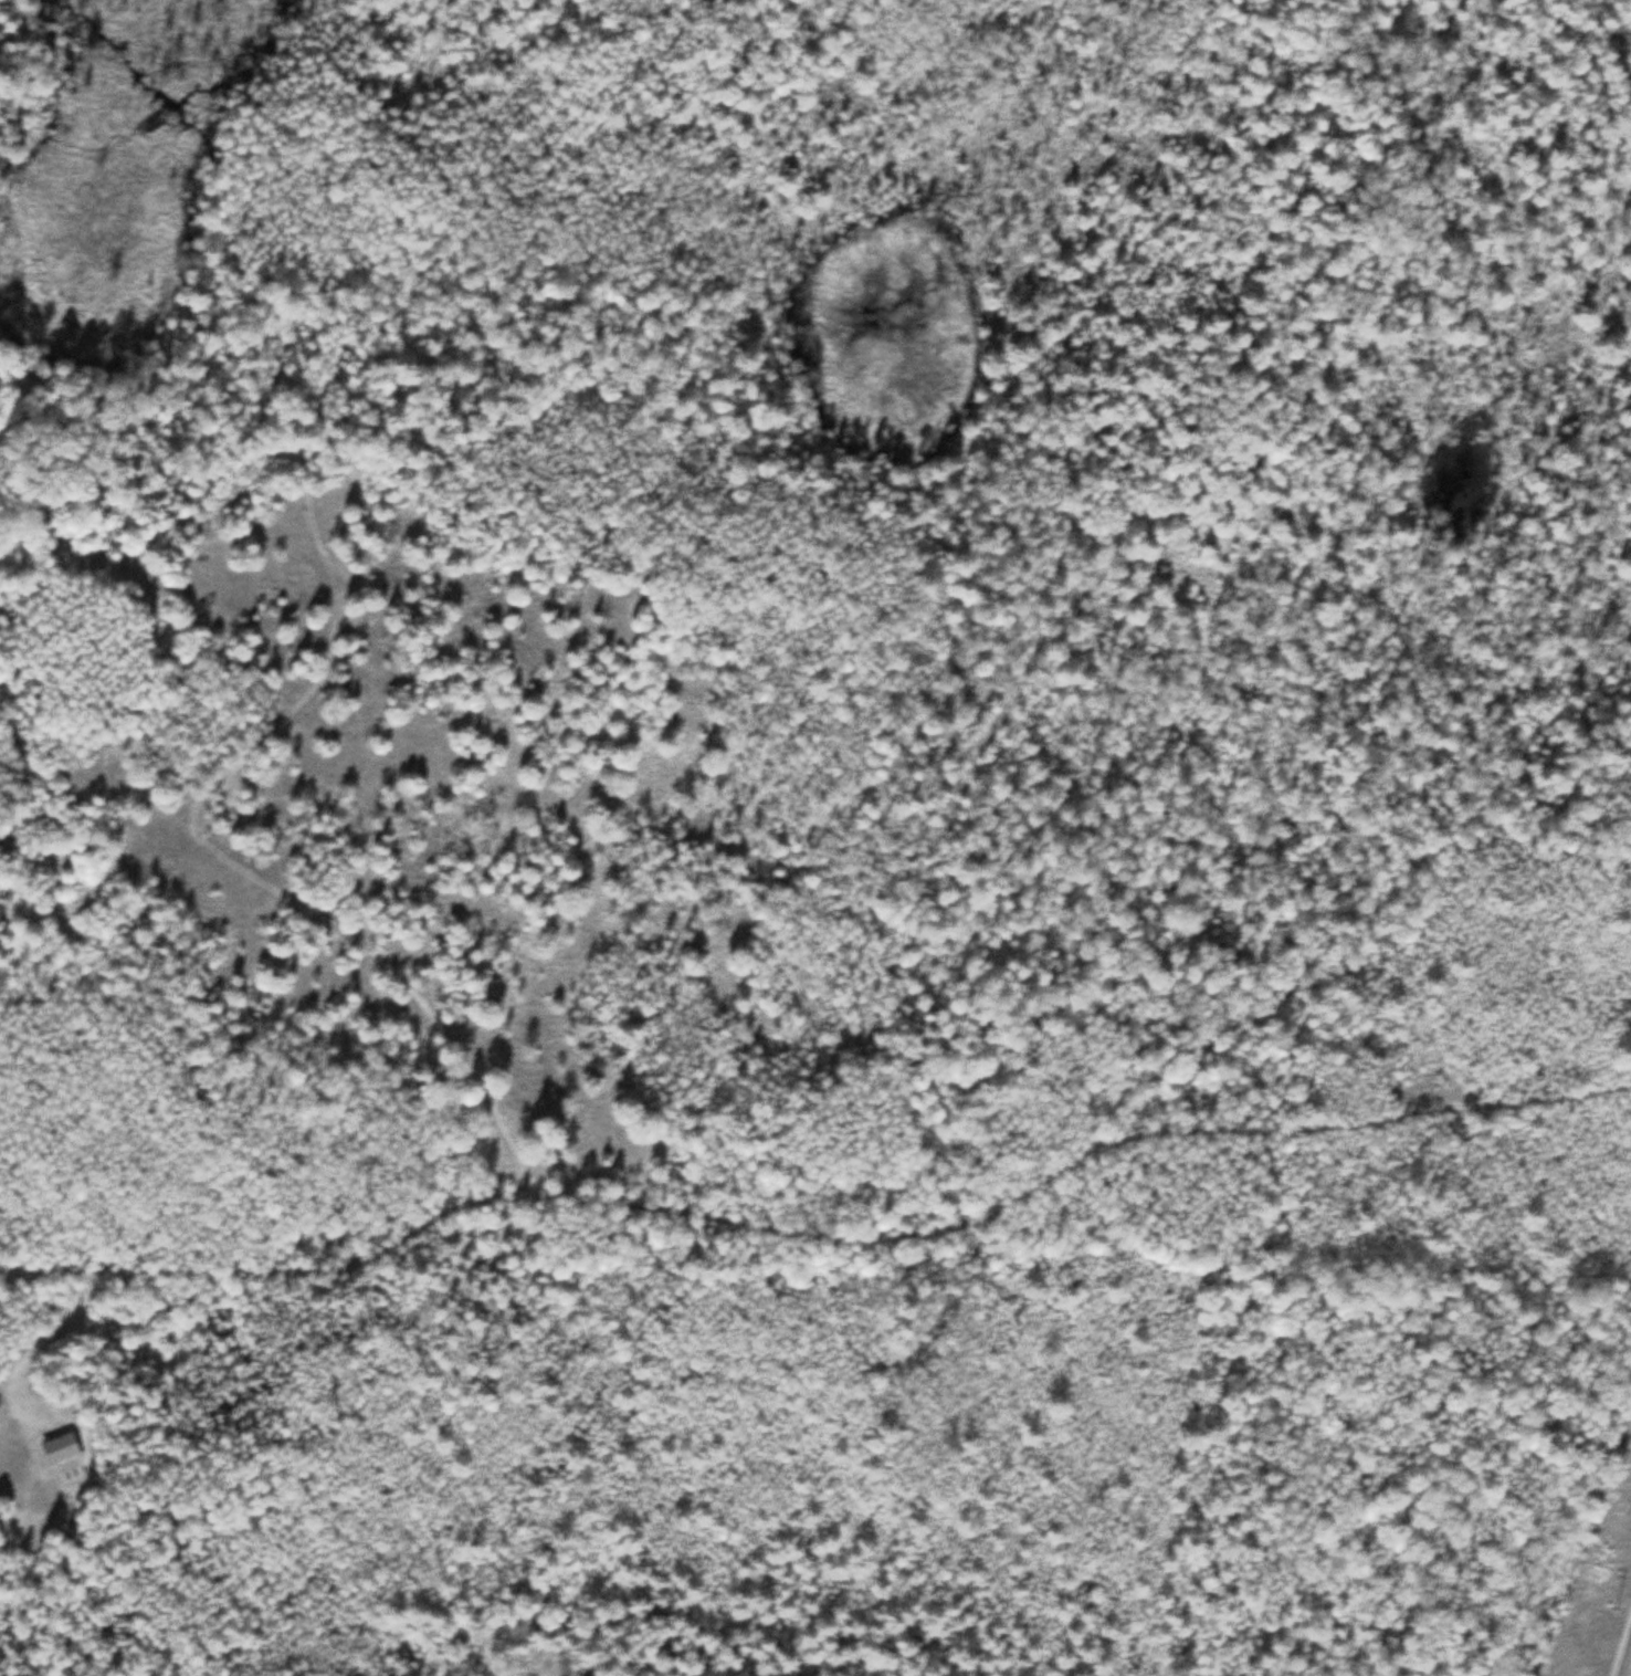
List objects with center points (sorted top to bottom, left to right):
road: (290, 418)
road: (380, 954)
road: (819, 1233)
road: (35, 1343)
building: (59, 1446)
road: (1620, 1641)

